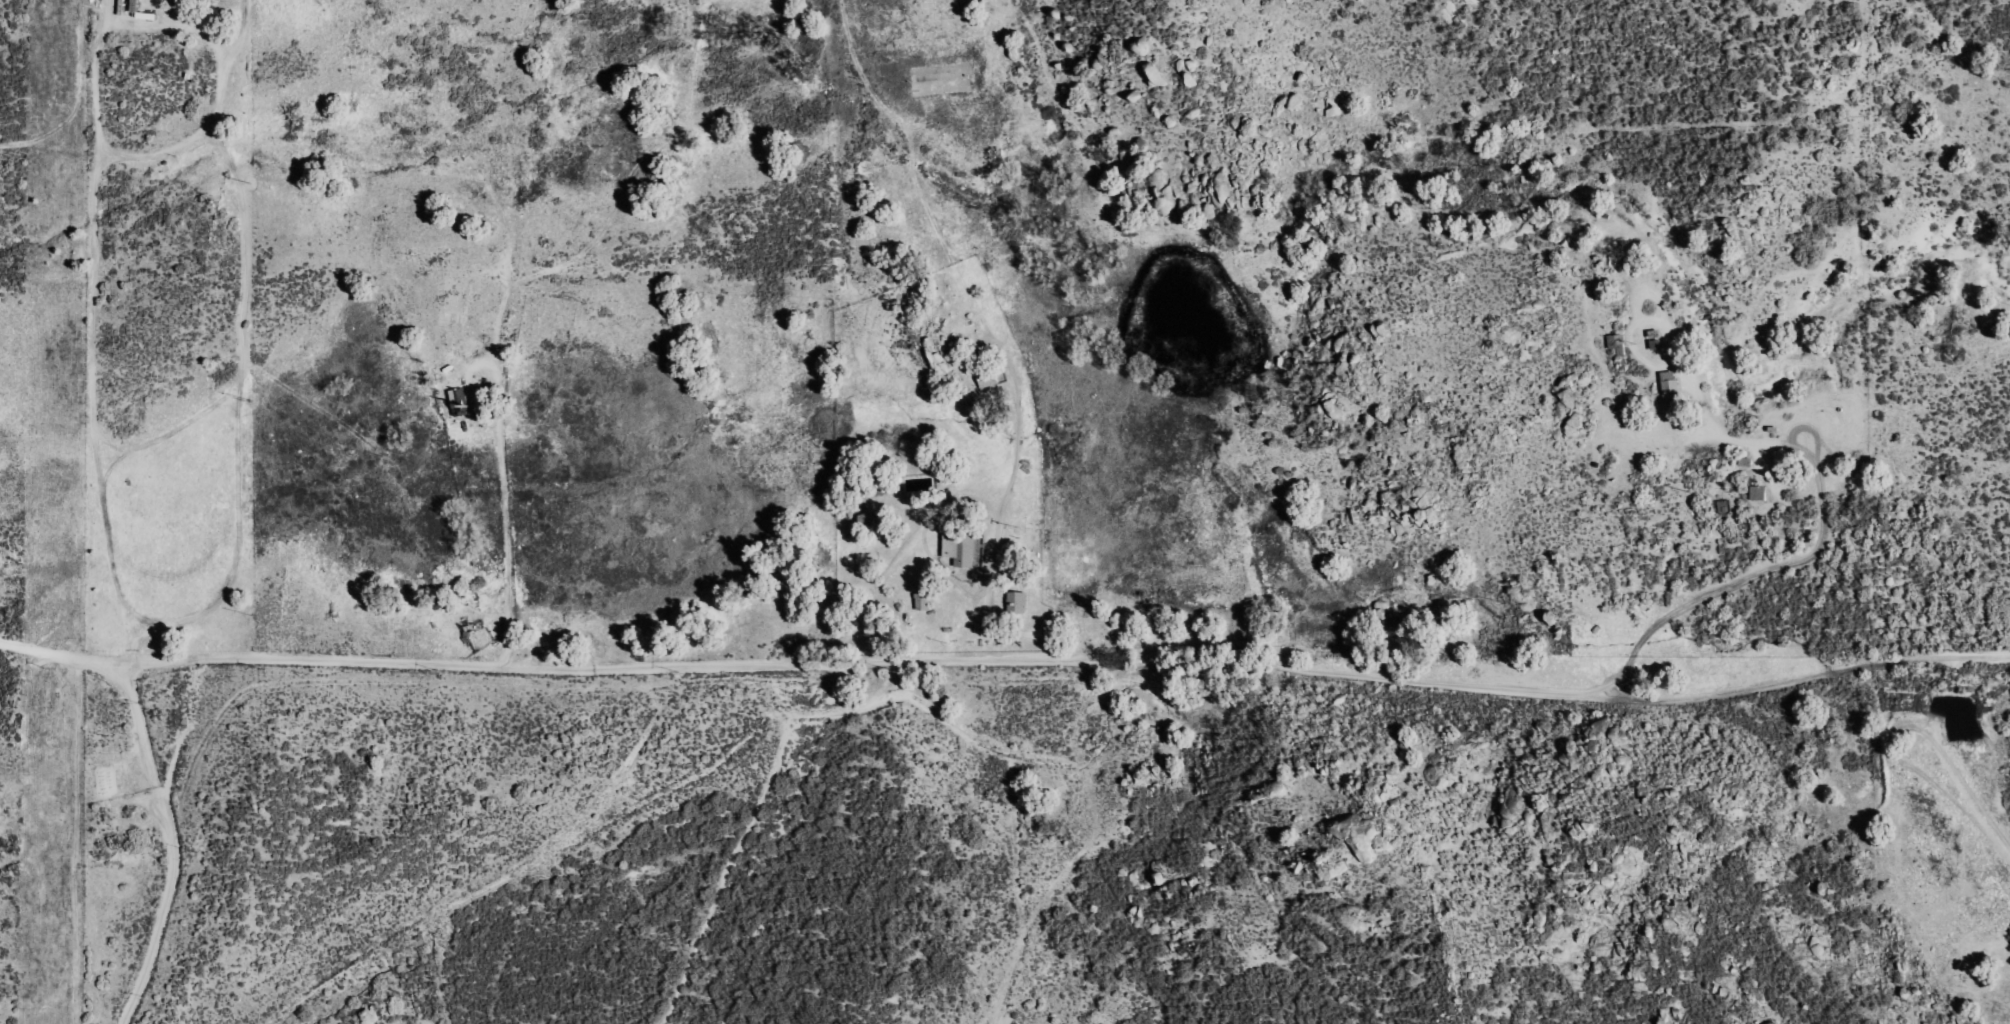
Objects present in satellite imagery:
building: (1670, 389)
building: (459, 402)
building: (1758, 492)
building: (962, 547)
building: (922, 600)
building: (1017, 600)
building: (873, 630)

